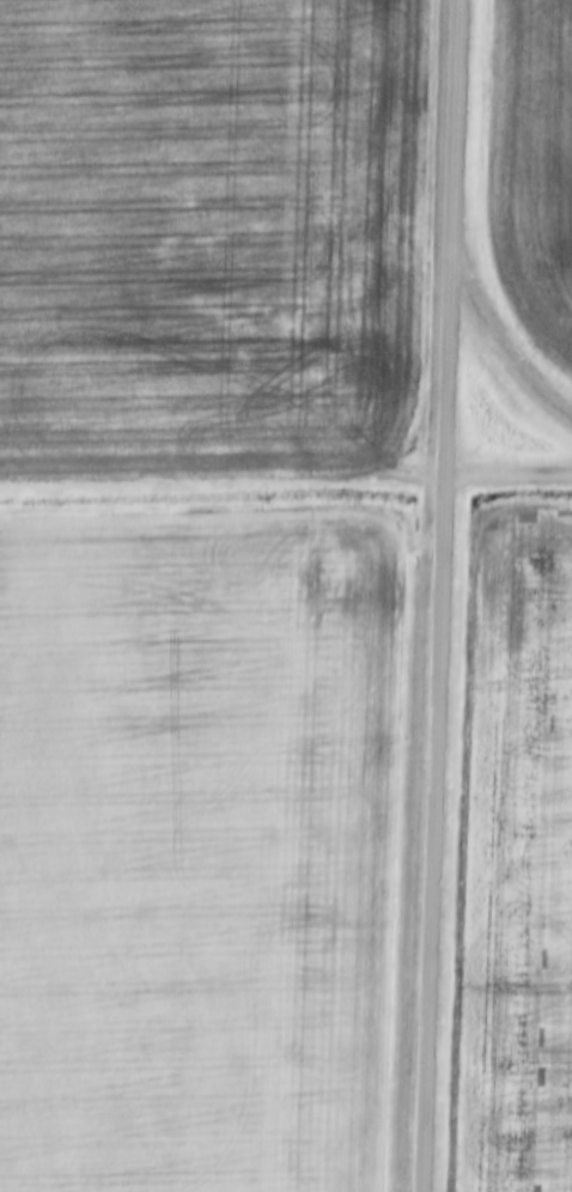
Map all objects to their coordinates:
crop: (536, 166)
crop: (211, 233)
road: (506, 347)
road: (223, 480)
road: (442, 596)
crop: (199, 852)
crop: (516, 863)

